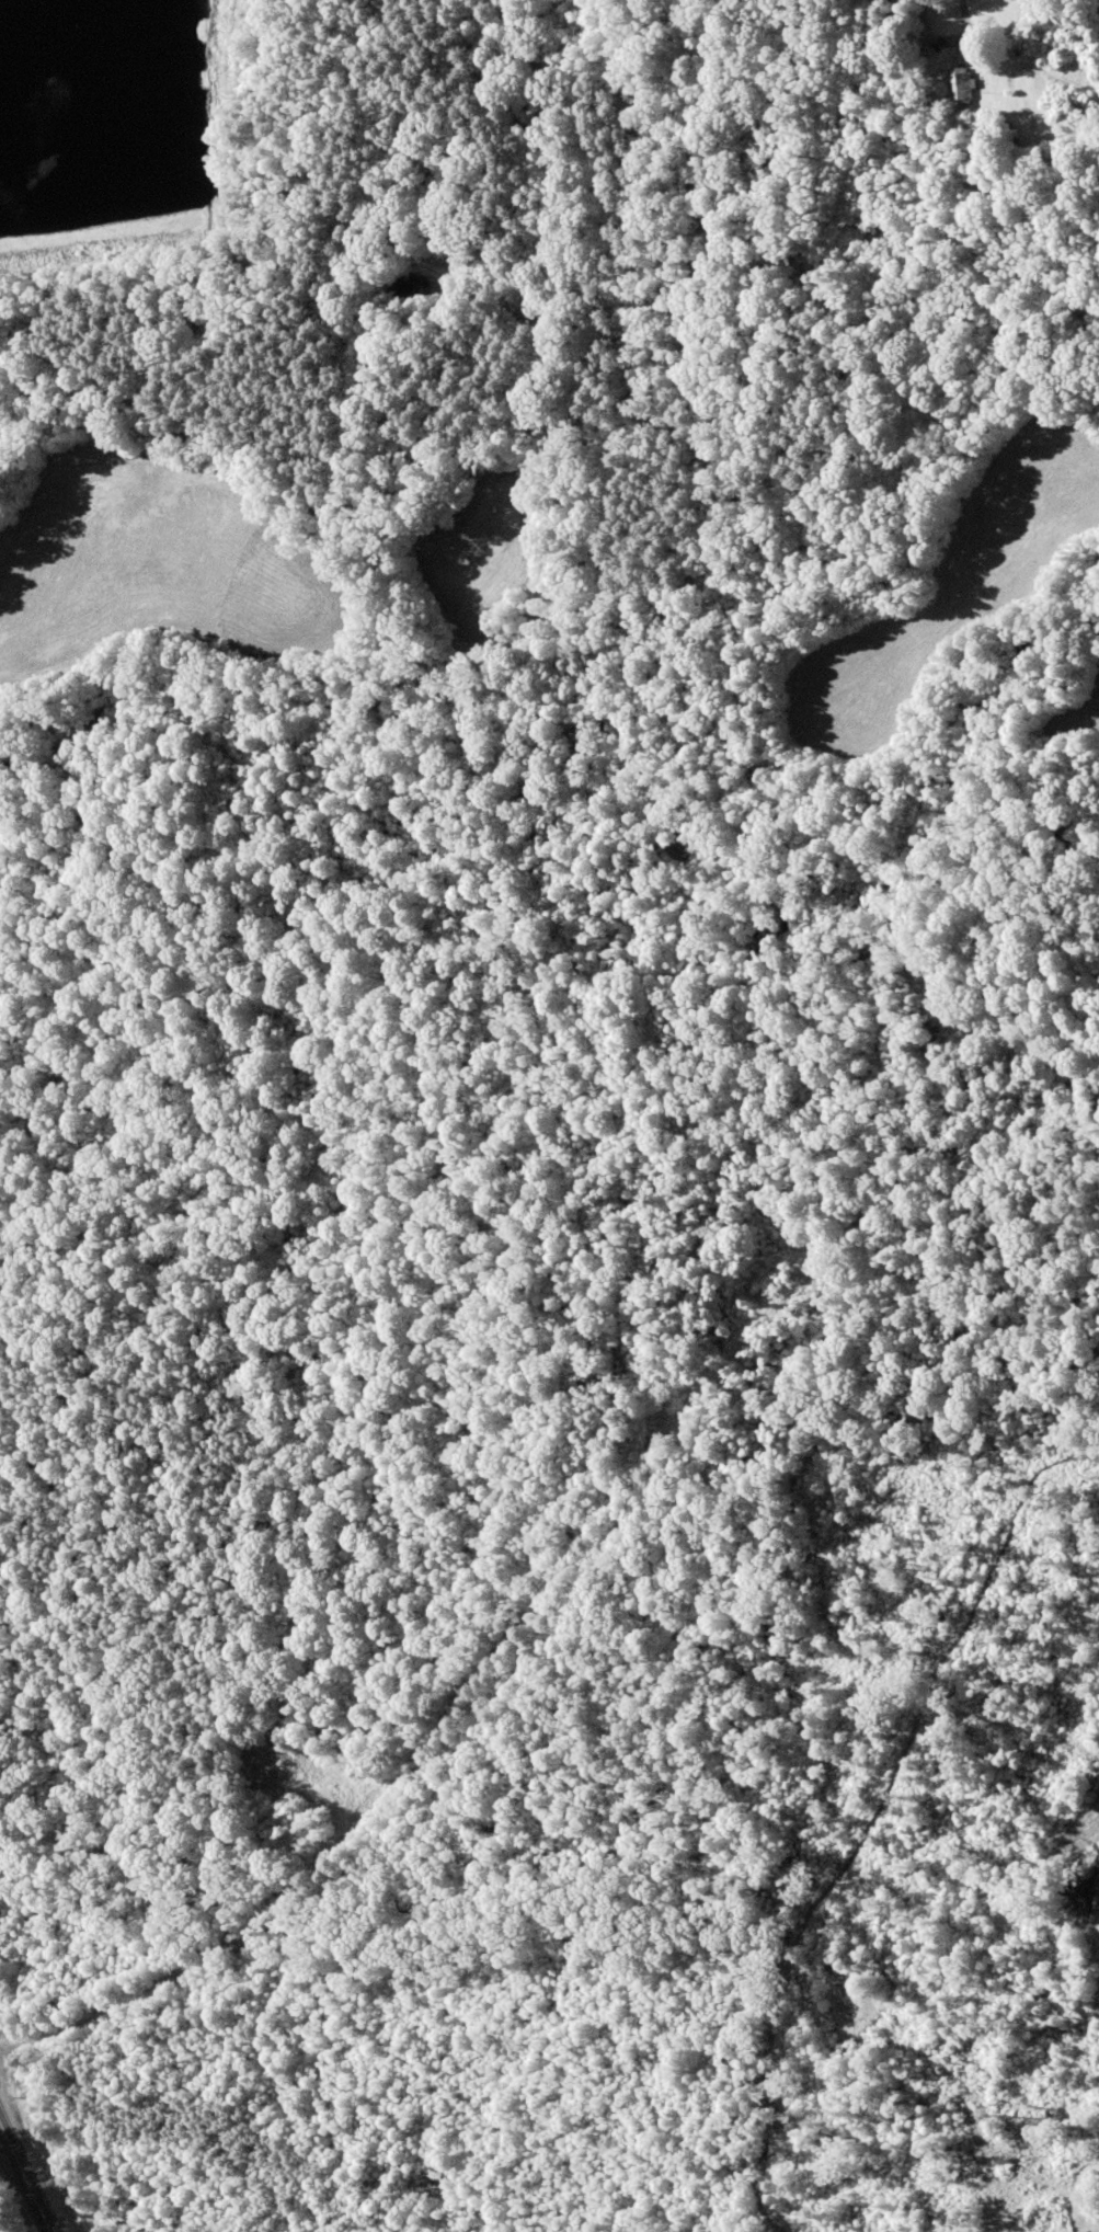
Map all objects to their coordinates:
road: (1024, 55)
building: (960, 89)
road: (18, 2197)

